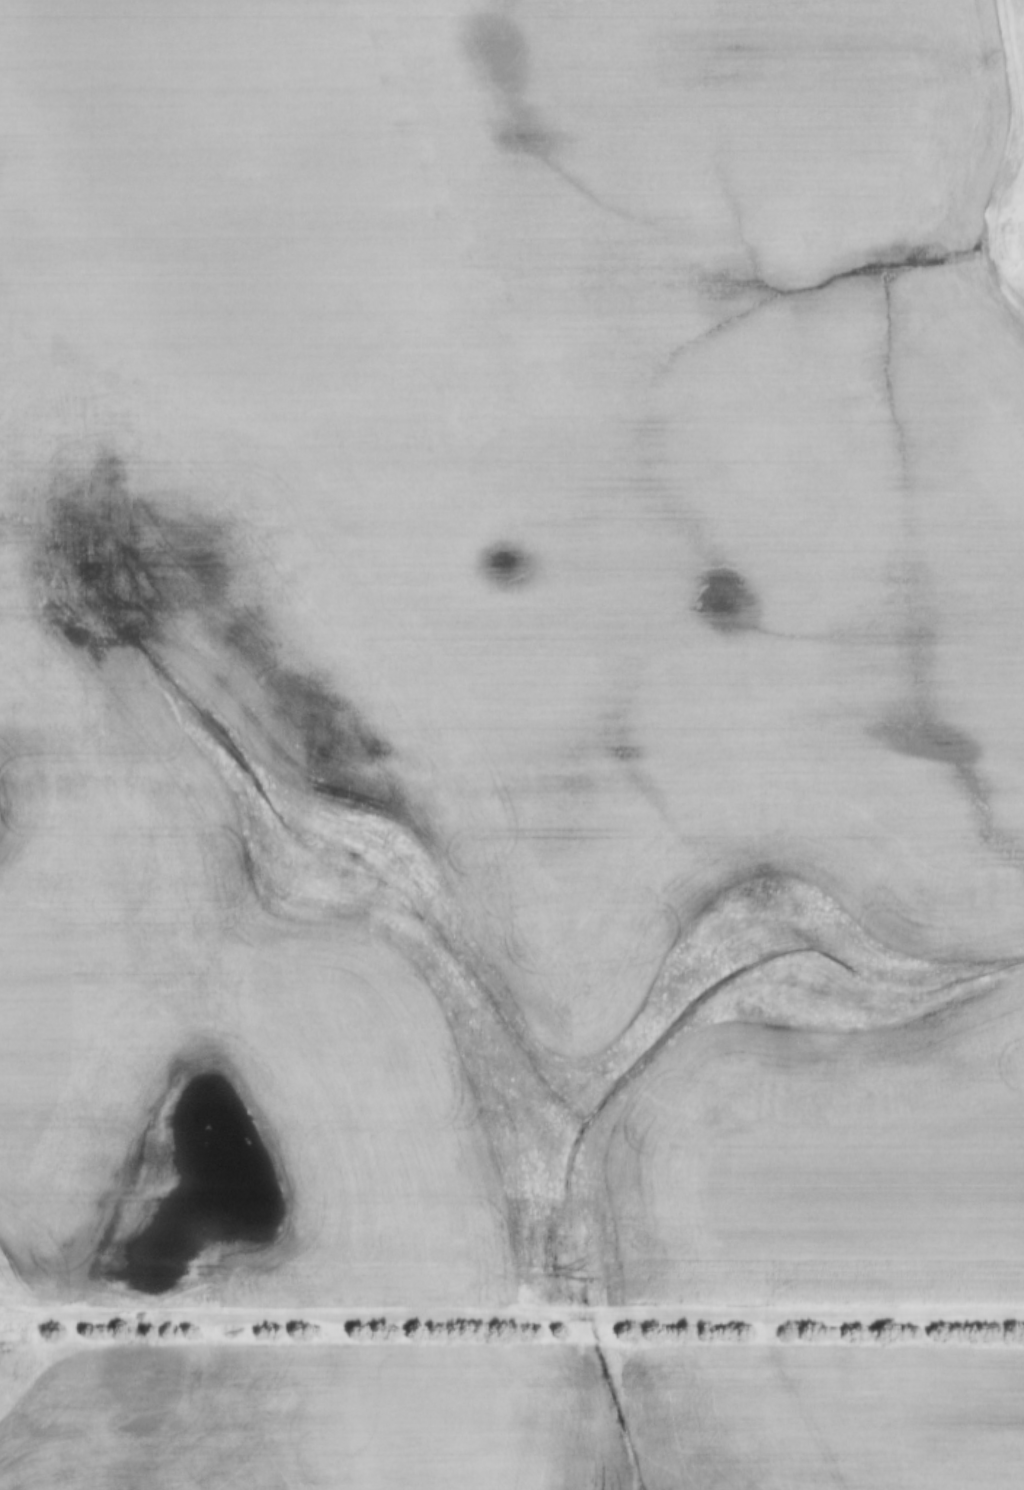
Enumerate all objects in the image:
road: (511, 1341)

